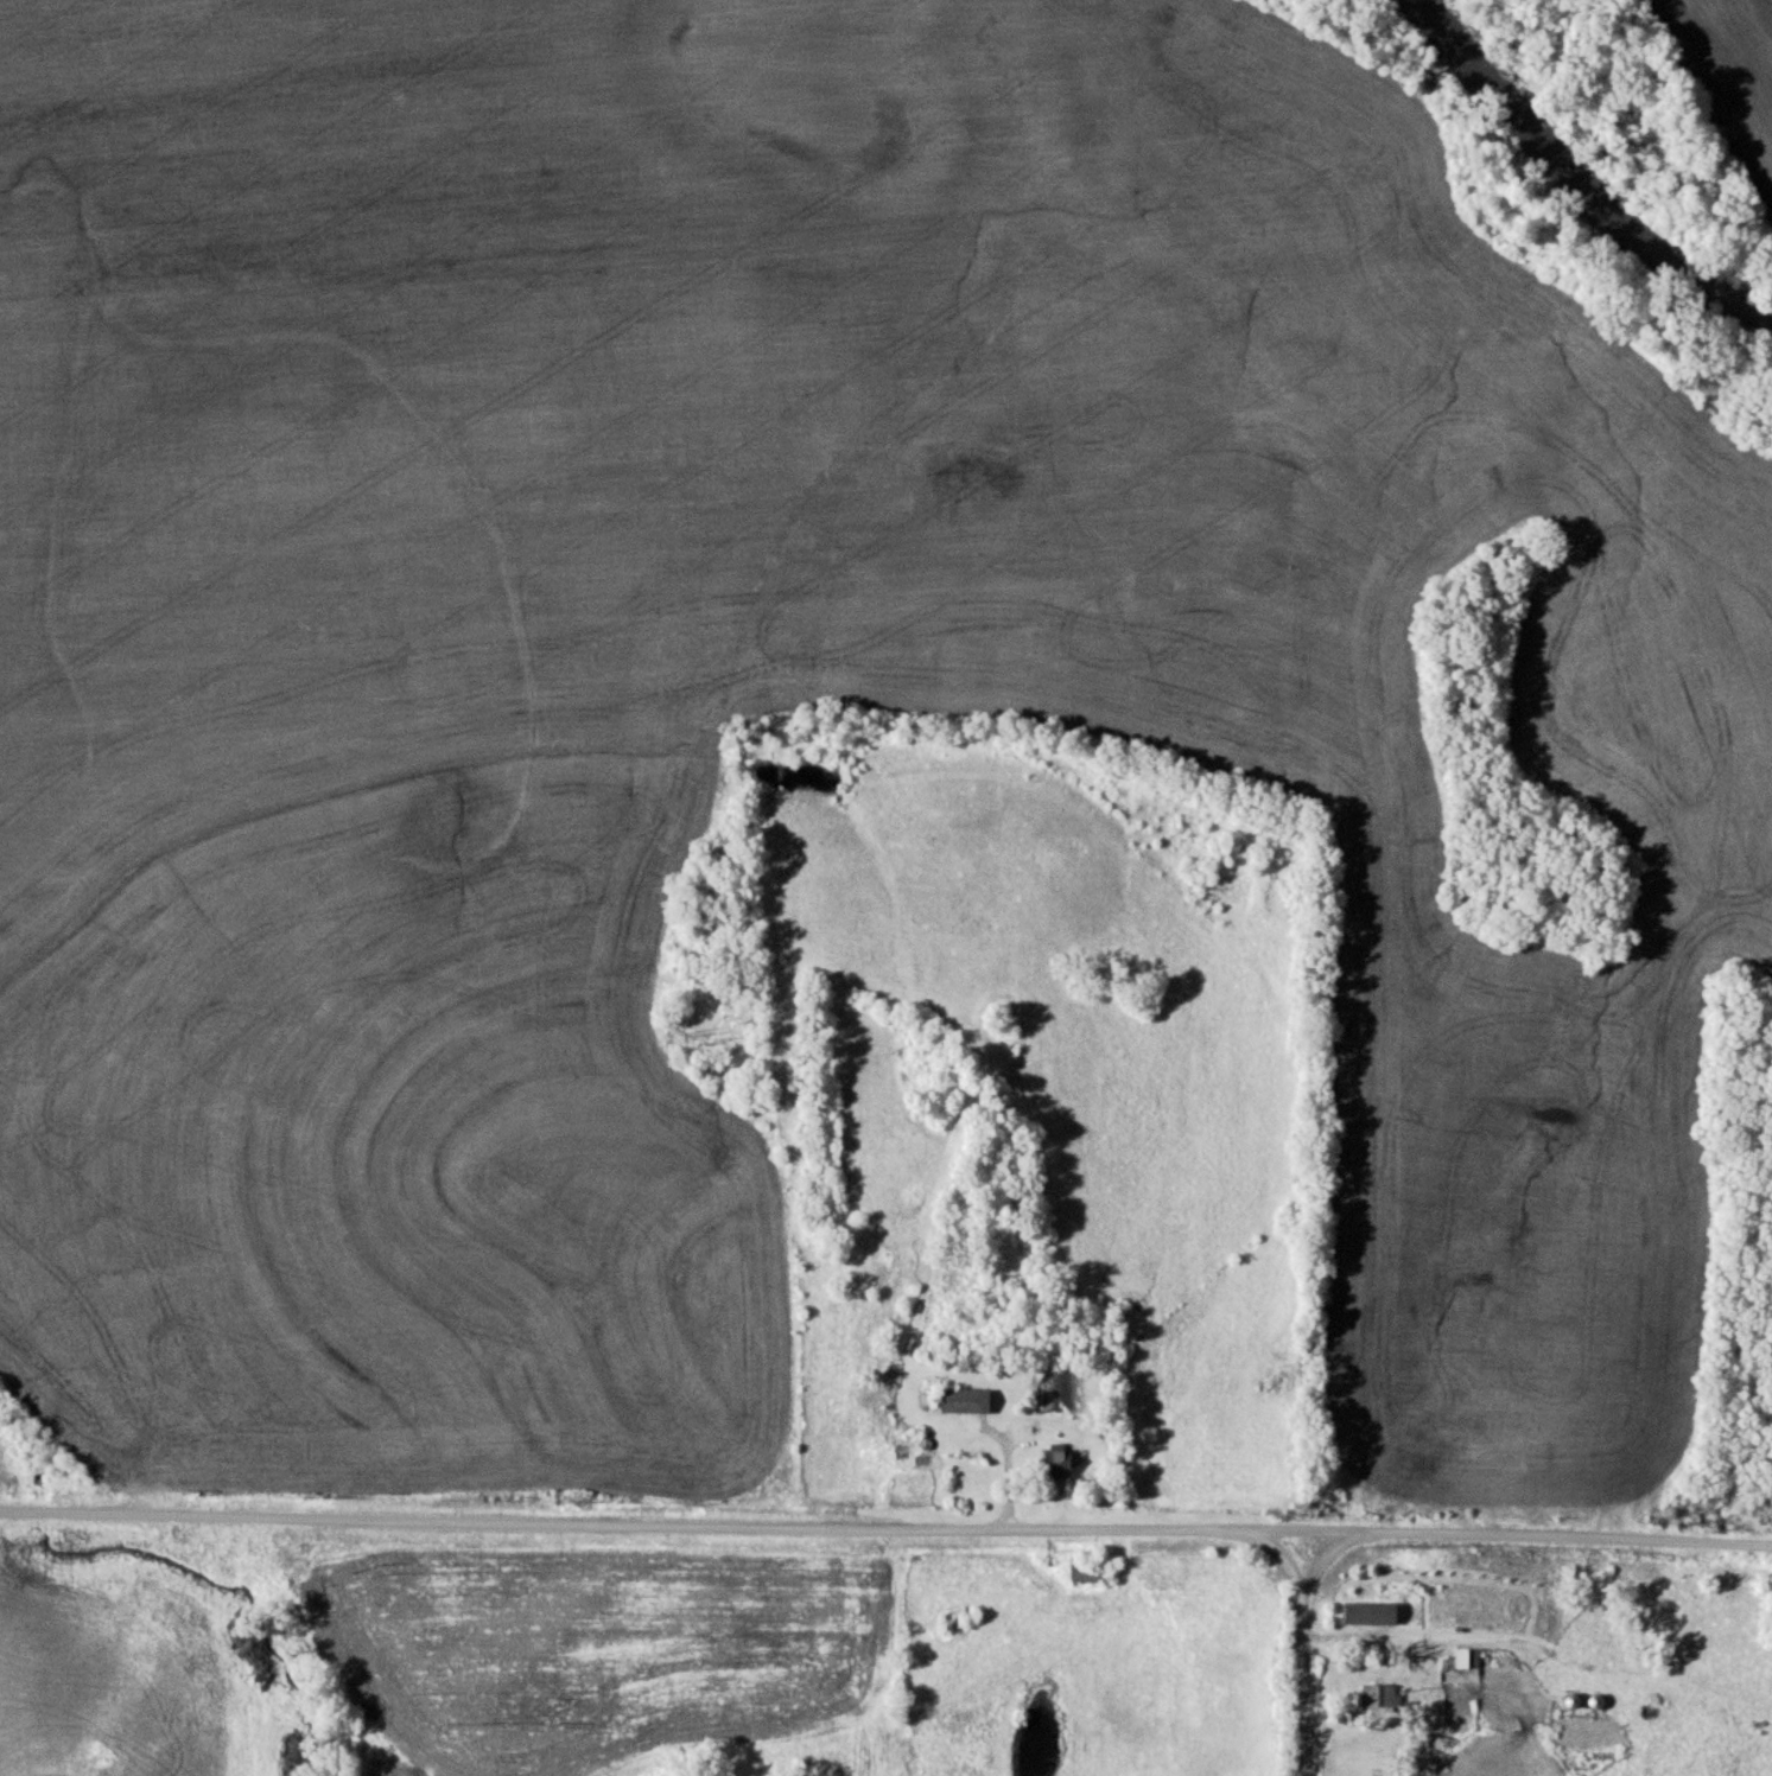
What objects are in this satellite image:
building: (965, 1400)
building: (1058, 1459)
road: (679, 1521)
road: (1565, 1535)
road: (1279, 1553)
building: (1087, 1573)
building: (1370, 1612)
road: (1302, 1641)
building: (1467, 1657)
building: (1380, 1695)

